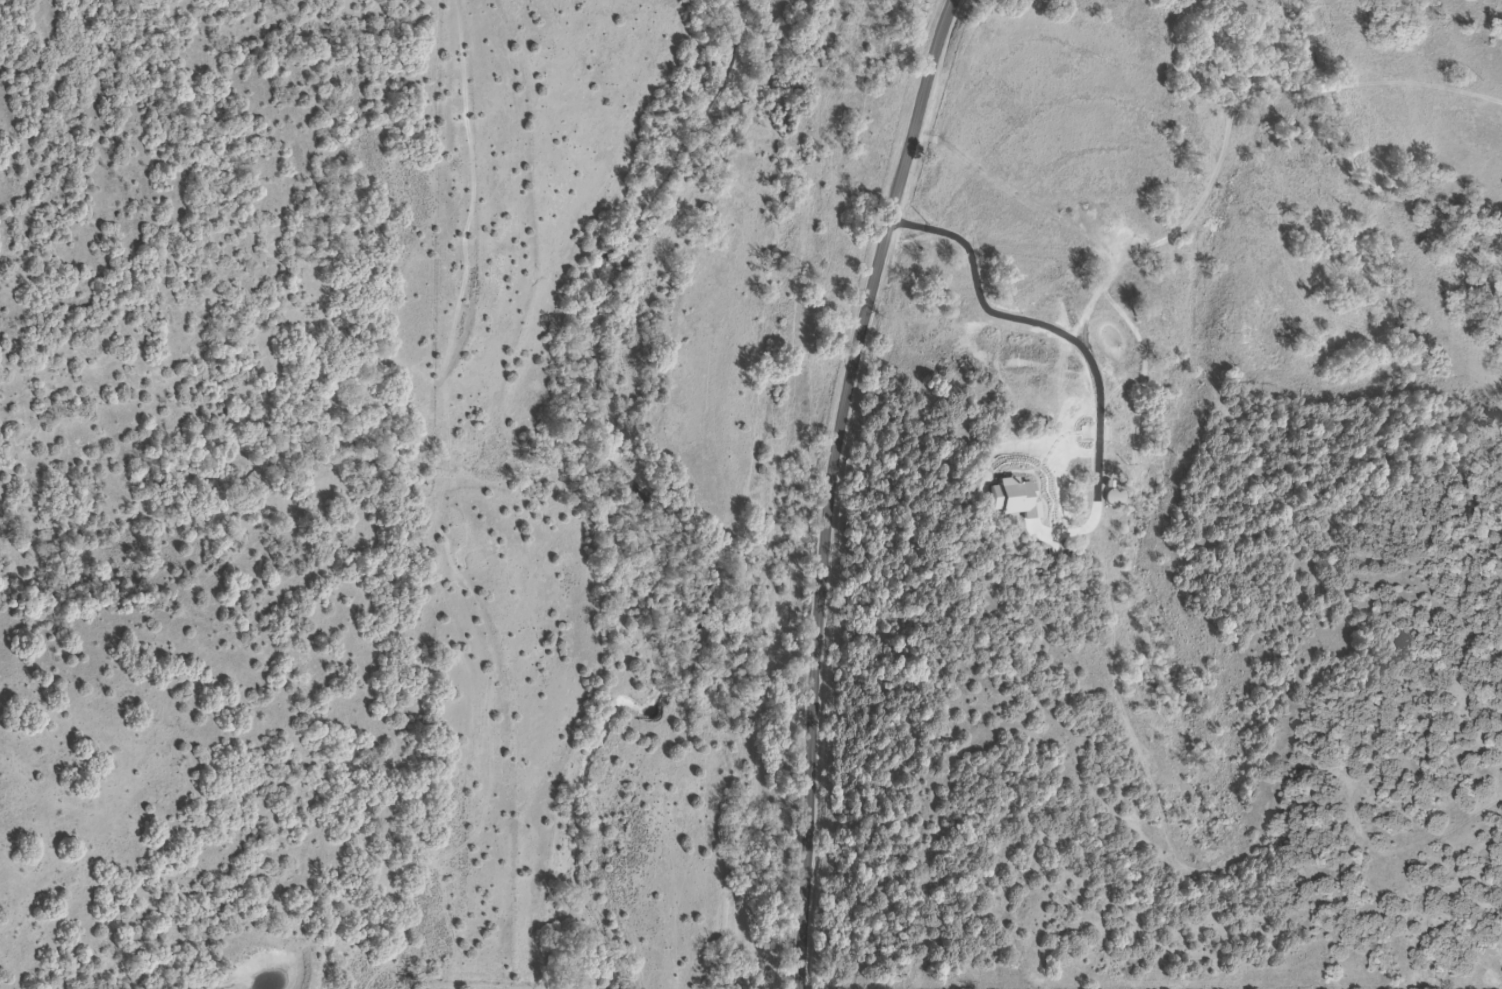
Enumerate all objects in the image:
building: (788, 202)
road: (915, 226)
road: (1105, 276)
road: (833, 487)

